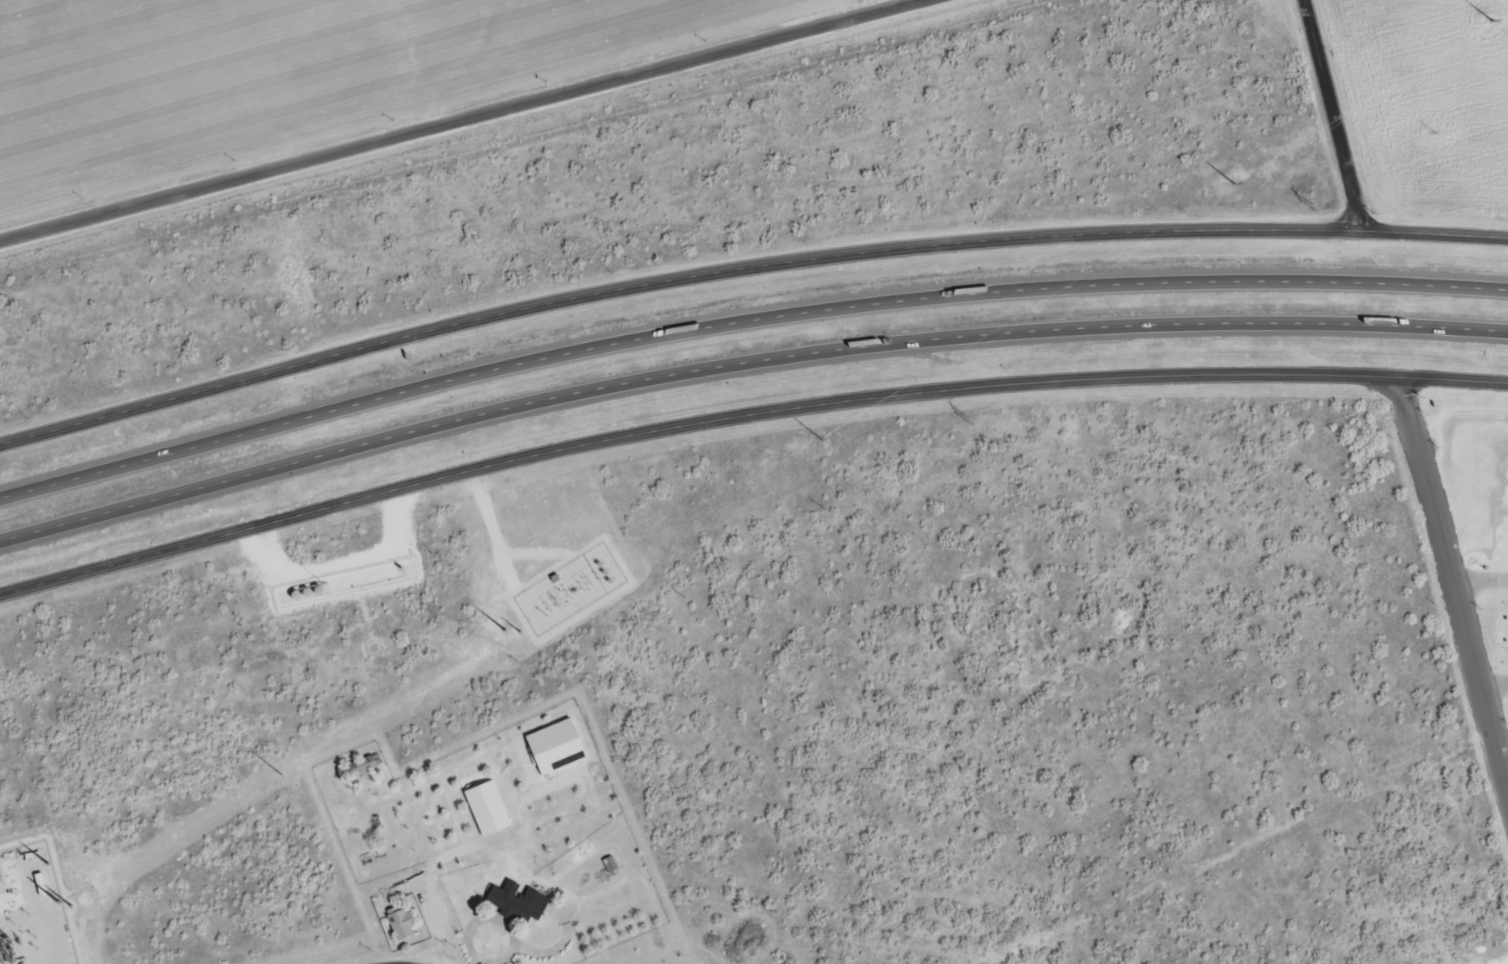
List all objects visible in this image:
power tower: (1492, 21)
road: (1325, 118)
road: (463, 122)
power tower: (1434, 130)
power tower: (1234, 184)
power tower: (1311, 205)
road: (744, 267)
road: (744, 321)
road: (744, 362)
road: (743, 411)
power tower: (965, 417)
power tower: (820, 440)
power tower: (824, 507)
road: (1454, 577)
road: (1481, 581)
power substation: (569, 588)
power tower: (684, 597)
power tower: (542, 609)
power tower: (504, 630)
power tower: (519, 632)
road: (1496, 687)
building: (361, 768)
power tower: (281, 775)
building: (487, 808)
power tower: (47, 863)
power tower: (57, 903)
building: (518, 903)
power tower: (70, 906)
power substation: (32, 909)
road: (504, 919)
building: (401, 924)
road: (473, 961)

